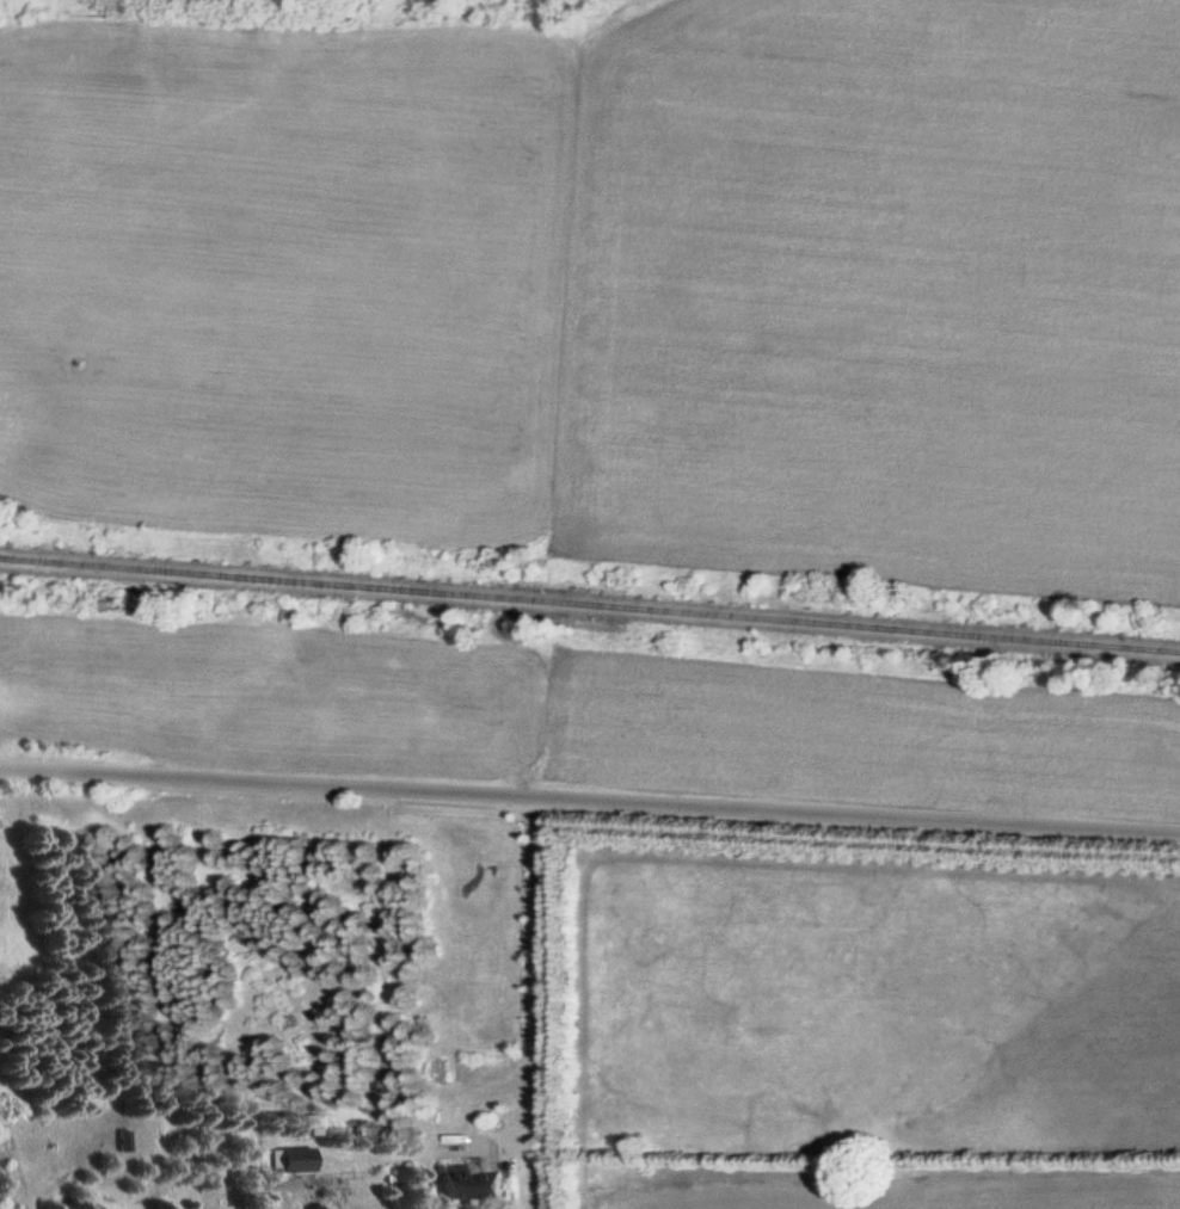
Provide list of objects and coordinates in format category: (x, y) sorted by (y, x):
railway: (590, 604)
road: (590, 802)
building: (316, 1124)
building: (290, 1159)
building: (462, 1182)

